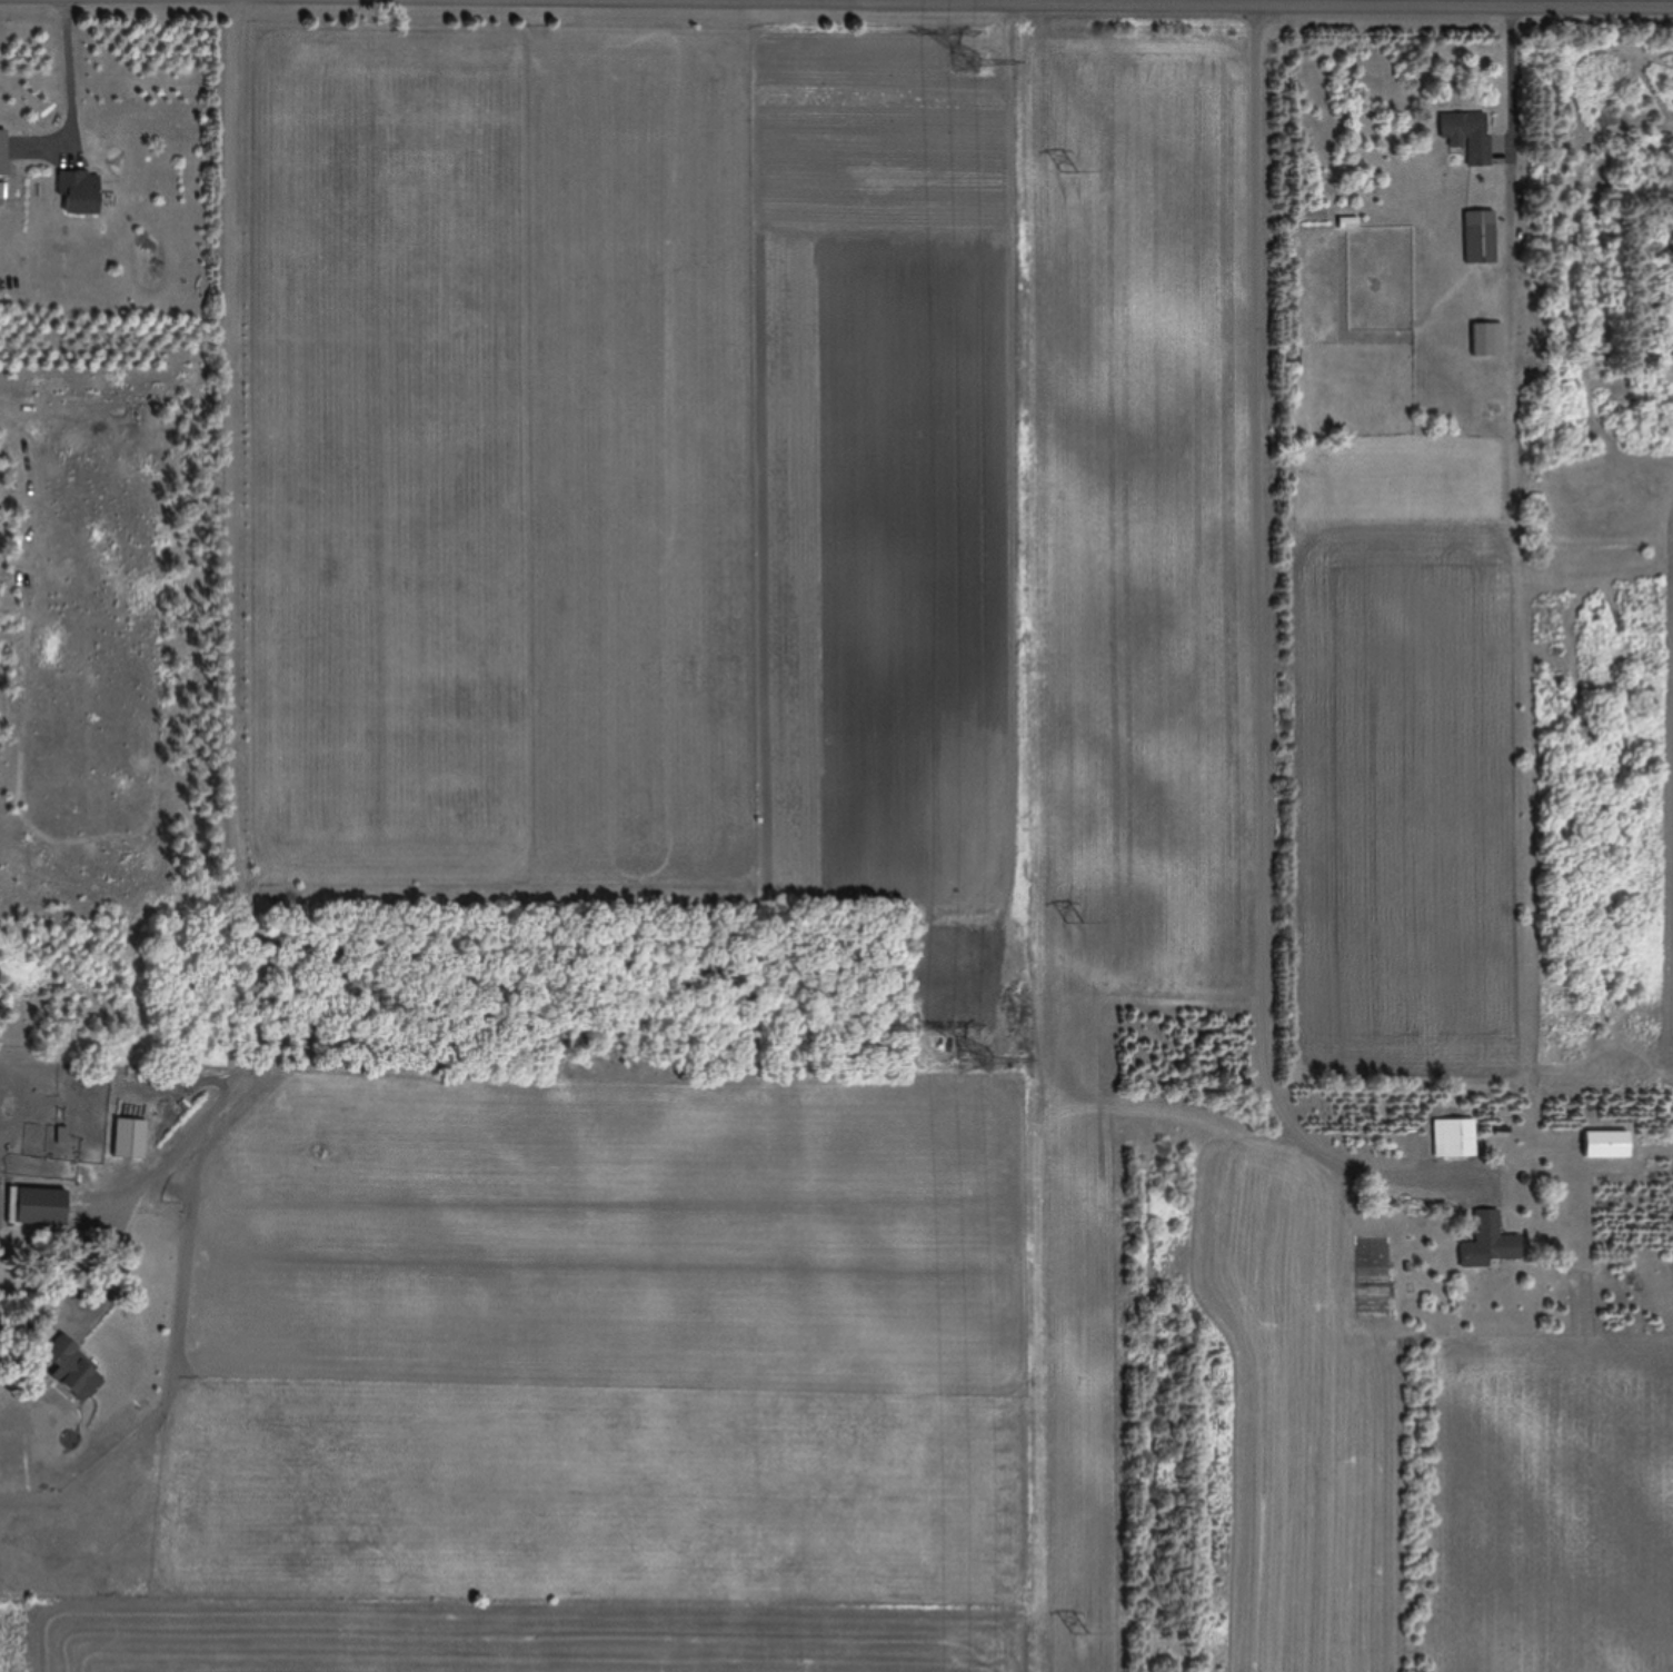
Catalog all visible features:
road: (1254, 3)
power tower: (964, 61)
building: (1468, 136)
building: (2, 153)
power tower: (1070, 175)
building: (80, 191)
building: (1480, 237)
road: (1175, 427)
road: (1261, 623)
power tower: (1076, 926)
power tower: (974, 1062)
building: (1457, 1139)
building: (37, 1207)
building: (1494, 1240)
building: (72, 1371)
power tower: (1085, 1631)

